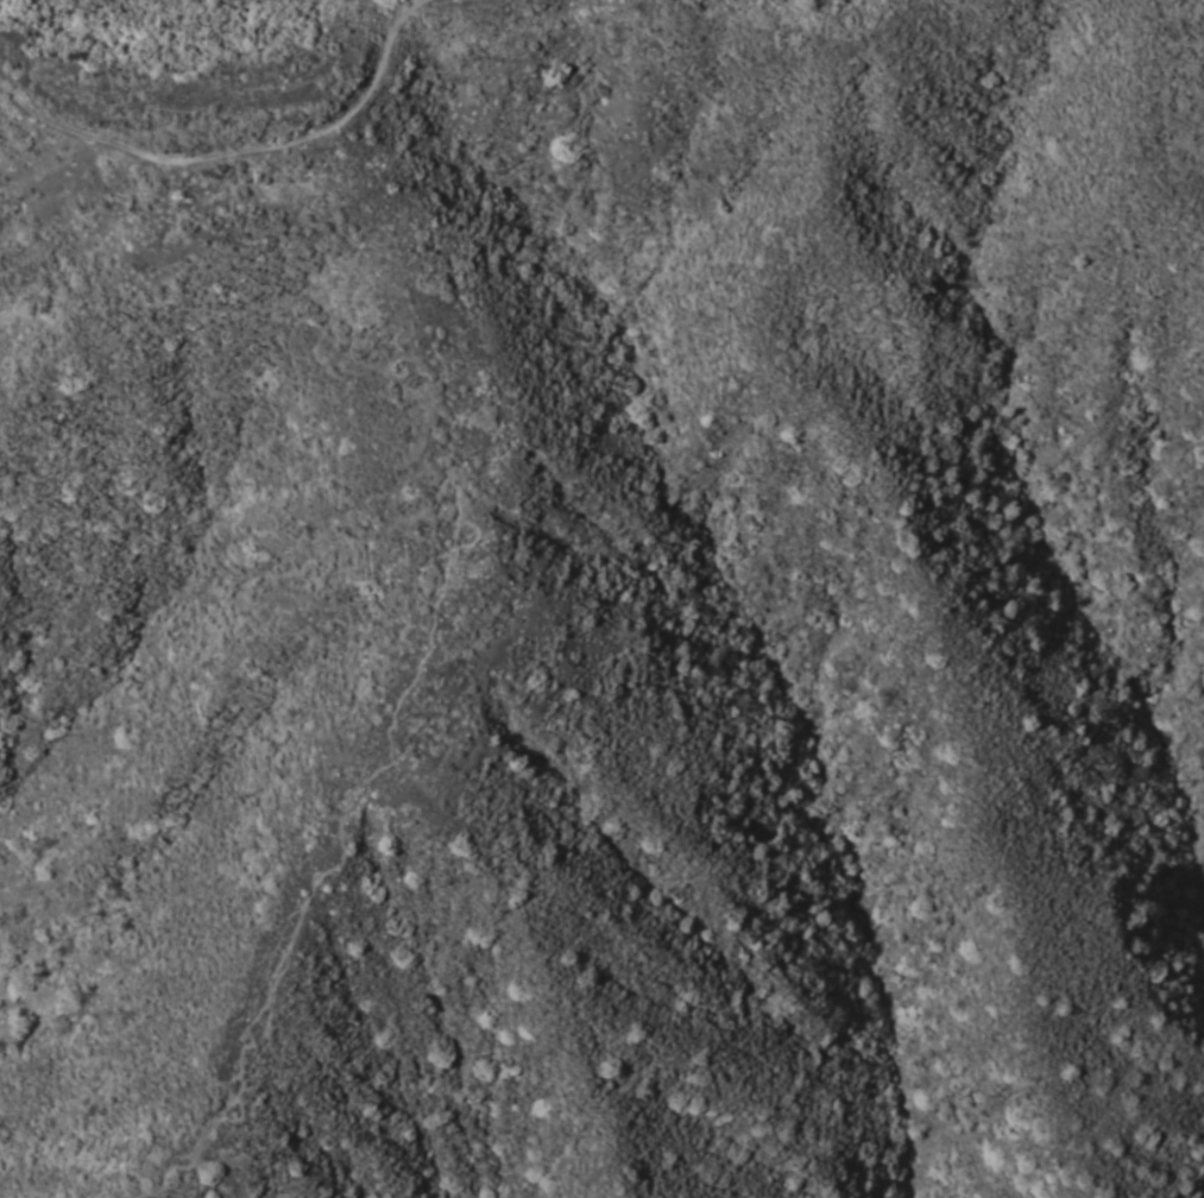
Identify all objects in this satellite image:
road: (346, 135)
road: (81, 138)
road: (417, 632)
road: (181, 1173)

